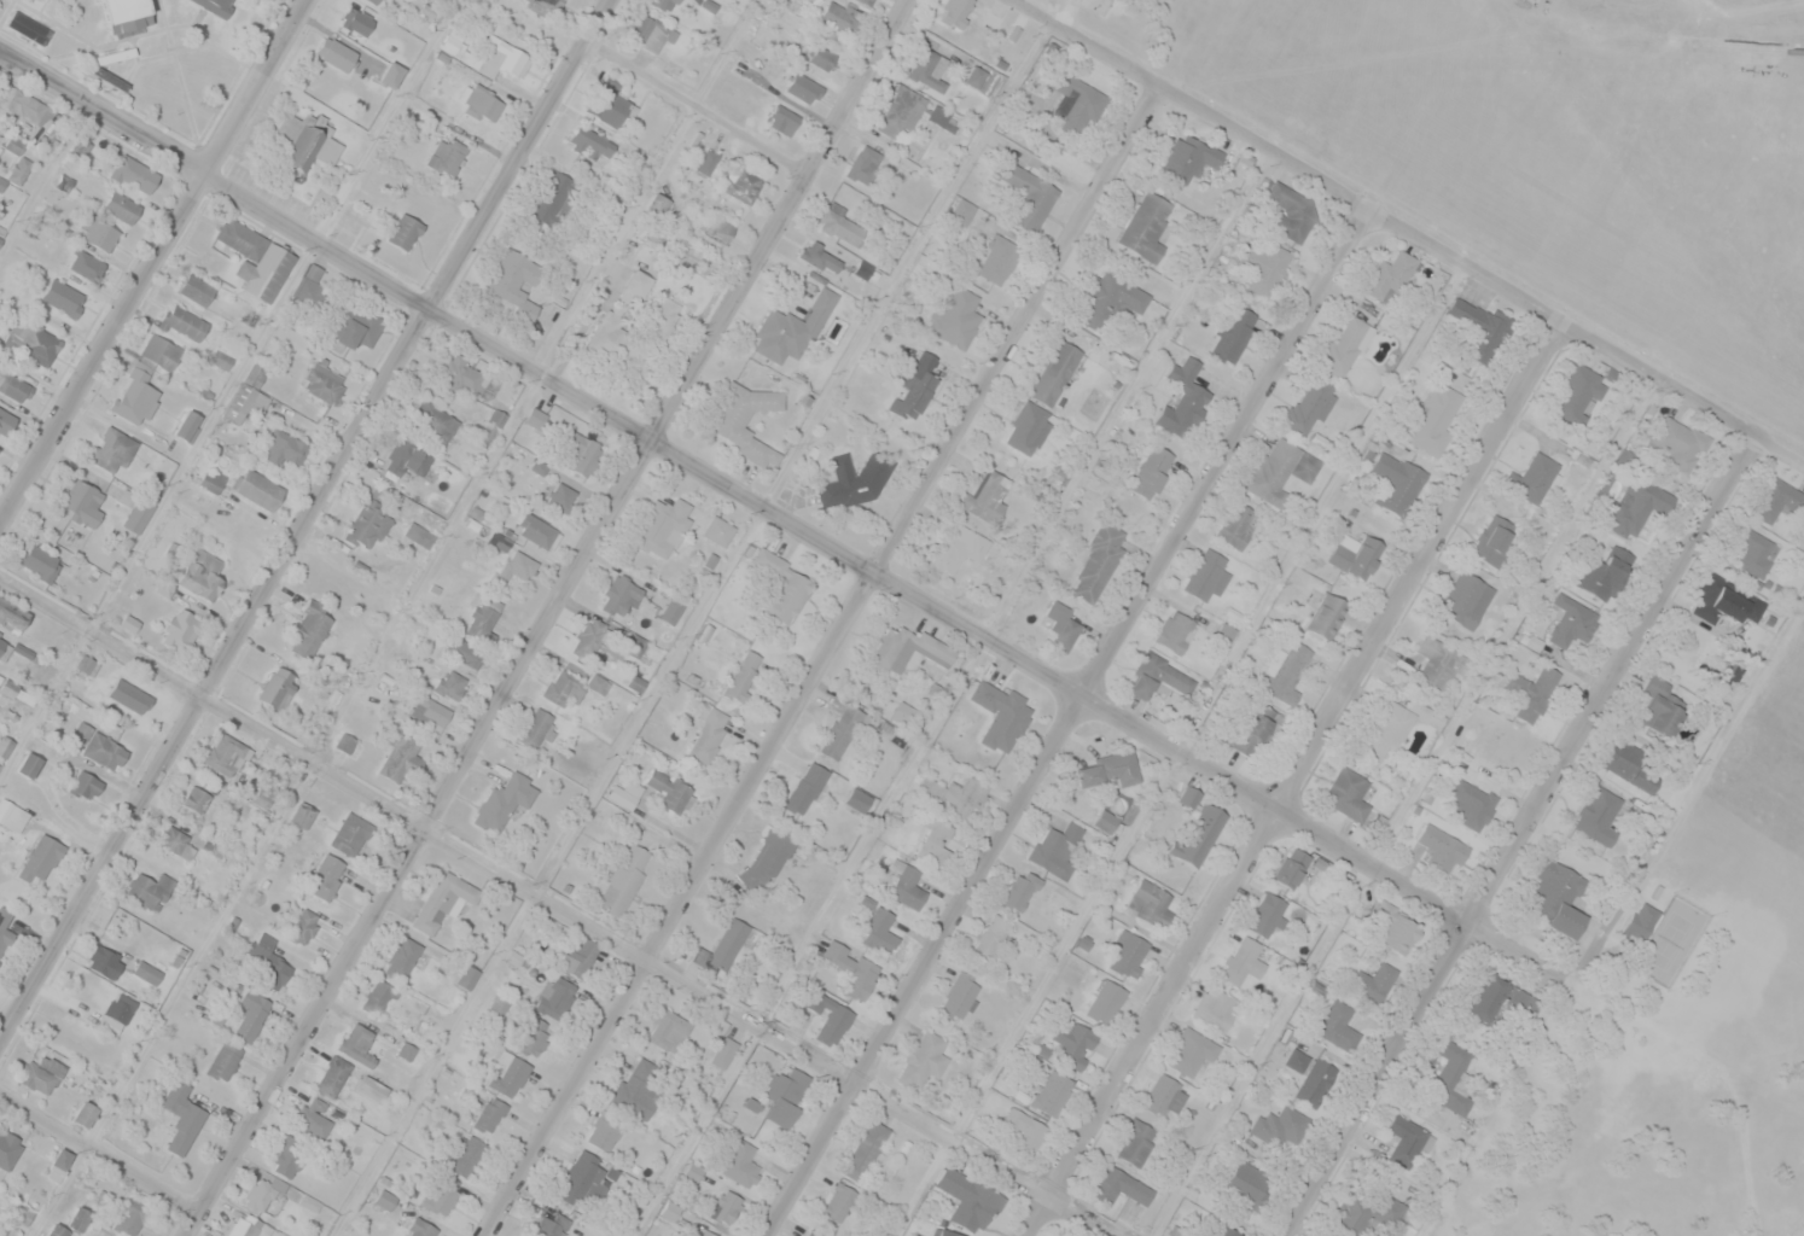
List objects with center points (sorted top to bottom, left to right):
building: (45, 0)
building: (549, 4)
building: (664, 4)
building: (211, 6)
building: (956, 10)
building: (122, 12)
building: (839, 14)
building: (356, 21)
building: (529, 23)
building: (651, 31)
building: (452, 40)
building: (336, 53)
building: (495, 54)
building: (821, 57)
building: (927, 68)
building: (391, 74)
building: (802, 87)
building: (24, 103)
building: (481, 103)
building: (1076, 104)
building: (607, 105)
road: (700, 109)
building: (900, 110)
building: (937, 113)
building: (782, 119)
building: (305, 141)
building: (589, 141)
building: (78, 148)
building: (446, 154)
building: (1189, 157)
building: (863, 164)
building: (19, 169)
building: (134, 173)
building: (745, 186)
building: (1028, 196)
building: (553, 198)
building: (658, 202)
building: (120, 208)
building: (1290, 210)
road: (1384, 216)
building: (839, 226)
building: (1146, 226)
building: (715, 228)
building: (403, 231)
building: (100, 234)
building: (811, 251)
building: (256, 258)
building: (997, 258)
road: (155, 261)
building: (85, 264)
building: (1263, 266)
building: (1390, 274)
building: (514, 281)
building: (196, 288)
building: (309, 292)
building: (63, 297)
building: (1111, 302)
building: (619, 313)
building: (250, 316)
building: (184, 322)
building: (355, 326)
building: (1479, 326)
building: (791, 328)
building: (1233, 333)
building: (31, 340)
building: (1345, 345)
building: (1055, 372)
building: (462, 374)
building: (144, 379)
building: (322, 381)
building: (13, 384)
building: (914, 385)
building: (1573, 392)
building: (246, 396)
building: (1186, 401)
building: (1308, 406)
building: (729, 416)
building: (1436, 418)
building: (6, 420)
building: (432, 421)
building: (187, 424)
building: (490, 427)
building: (1028, 427)
building: (1674, 443)
building: (283, 447)
building: (112, 450)
building: (581, 454)
building: (408, 459)
building: (1151, 471)
building: (1280, 471)
building: (1529, 473)
building: (211, 480)
building: (852, 480)
building: (1396, 482)
building: (258, 488)
building: (560, 496)
building: (985, 496)
building: (1774, 501)
building: (82, 502)
building: (1635, 506)
road: (778, 513)
building: (136, 515)
road: (301, 517)
building: (367, 524)
building: (1236, 524)
building: (662, 525)
building: (718, 530)
building: (537, 531)
building: (1492, 538)
building: (956, 548)
building: (1752, 552)
building: (1356, 555)
building: (40, 562)
building: (1098, 562)
building: (520, 565)
building: (1601, 570)
building: (1205, 573)
building: (202, 575)
building: (782, 587)
building: (619, 594)
building: (1466, 599)
building: (1722, 602)
building: (671, 611)
building: (1325, 612)
building: (12, 613)
road: (548, 617)
building: (1571, 620)
building: (482, 623)
building: (182, 630)
building: (309, 630)
building: (1175, 631)
building: (588, 637)
building: (4, 649)
building: (906, 649)
road: (822, 660)
building: (1288, 665)
building: (1437, 665)
building: (743, 675)
building: (1157, 676)
building: (452, 683)
building: (277, 687)
building: (568, 687)
building: (134, 693)
building: (1531, 693)
building: (1655, 709)
building: (430, 712)
building: (1000, 713)
road: (1067, 721)
building: (534, 727)
building: (1252, 727)
building: (1385, 730)
building: (840, 731)
building: (709, 735)
building: (344, 742)
building: (4, 745)
building: (100, 747)
building: (227, 754)
building: (401, 759)
building: (29, 764)
building: (1623, 764)
building: (1110, 770)
road: (1291, 776)
building: (85, 785)
building: (805, 788)
building: (669, 789)
building: (970, 792)
building: (1348, 793)
building: (263, 797)
building: (1189, 797)
building: (857, 799)
building: (199, 800)
building: (504, 801)
building: (302, 814)
building: (1598, 816)
building: (11, 820)
building: (1107, 822)
building: (1197, 830)
road: (1513, 830)
building: (350, 834)
building: (935, 838)
building: (178, 841)
building: (1055, 849)
building: (1442, 849)
building: (40, 858)
building: (764, 859)
building: (1292, 868)
building: (327, 875)
building: (624, 879)
building: (907, 886)
building: (149, 888)
building: (1020, 890)
building: (1555, 897)
building: (442, 900)
road: (560, 903)
building: (1151, 903)
building: (1267, 914)
building: (1641, 921)
building: (303, 925)
building: (5, 929)
building: (879, 931)
building: (993, 938)
building: (722, 948)
building: (1127, 951)
building: (580, 956)
building: (402, 957)
building: (104, 961)
building: (1243, 961)
building: (266, 962)
building: (849, 969)
building: (147, 972)
building: (467, 976)
building: (1373, 983)
building: (379, 995)
building: (553, 995)
building: (959, 995)
building: (1486, 996)
building: (1106, 1002)
building: (499, 1004)
building: (1529, 1005)
building: (120, 1007)
building: (1214, 1007)
building: (250, 1014)
building: (827, 1016)
building: (1338, 1025)
building: (72, 1027)
building: (668, 1030)
building: (531, 1036)
building: (1073, 1042)
building: (356, 1043)
building: (406, 1049)
building: (723, 1051)
building: (1192, 1051)
building: (924, 1059)
building: (223, 1060)
building: (334, 1072)
building: (40, 1073)
building: (1444, 1074)
building: (1315, 1081)
building: (638, 1085)
building: (369, 1090)
building: (1052, 1092)
building: (786, 1095)
building: (1164, 1096)
building: (488, 1113)
building: (86, 1114)
building: (181, 1118)
building: (1281, 1126)
building: (1024, 1129)
building: (605, 1130)
building: (1406, 1141)
building: (1135, 1142)
road: (101, 1145)
building: (8, 1149)
building: (865, 1150)
building: (464, 1154)
building: (287, 1156)
building: (741, 1164)
building: (582, 1179)
building: (1247, 1182)
building: (1119, 1187)
building: (260, 1195)
building: (441, 1196)
building: (967, 1200)
building: (839, 1202)
building: (726, 1207)
building: (1368, 1211)
building: (129, 1215)
building: (78, 1218)
building: (549, 1224)
building: (248, 1226)
building: (421, 1228)
building: (58, 1231)
building: (1222, 1231)
building: (706, 1232)
building: (810, 1232)
building: (938, 1232)
building: (2, 1235)

